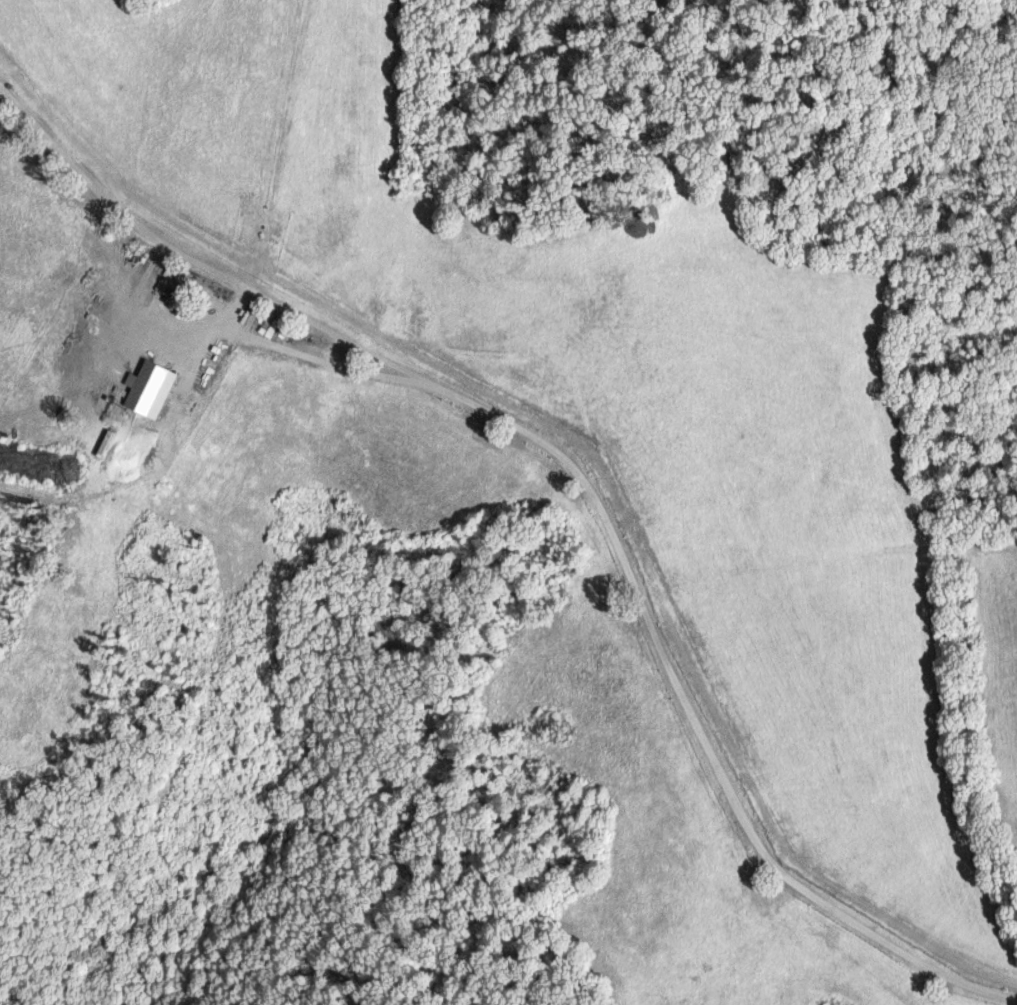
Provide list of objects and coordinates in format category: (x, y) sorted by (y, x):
building: (152, 388)
road: (585, 483)

